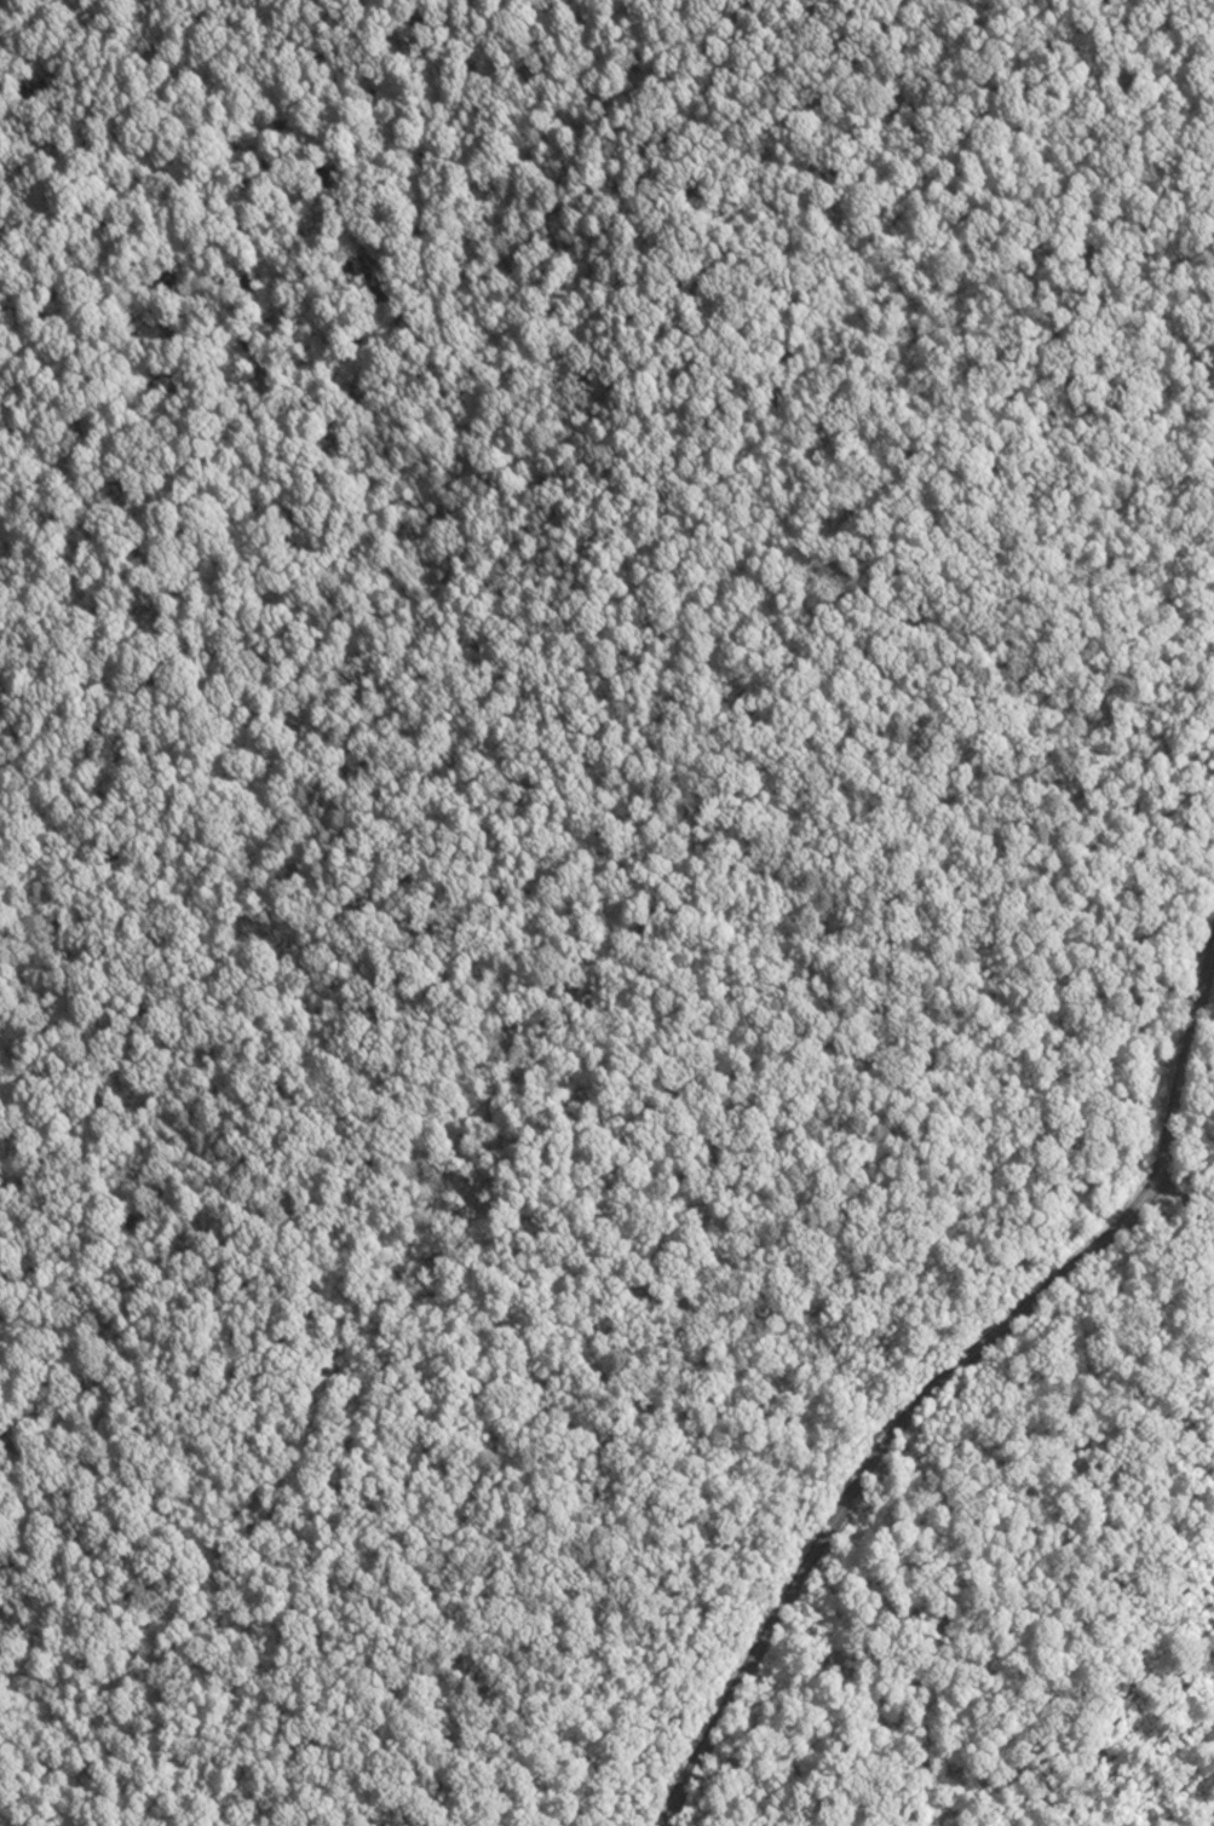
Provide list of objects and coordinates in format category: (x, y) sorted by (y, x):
road: (669, 892)
road: (944, 1377)

